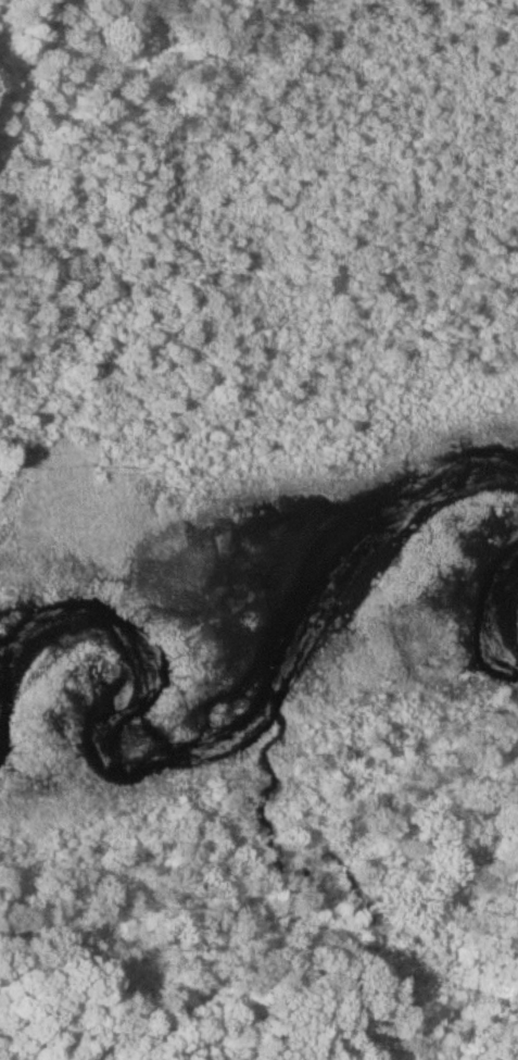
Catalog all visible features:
river: (492, 460)
river: (510, 613)
river: (164, 753)

